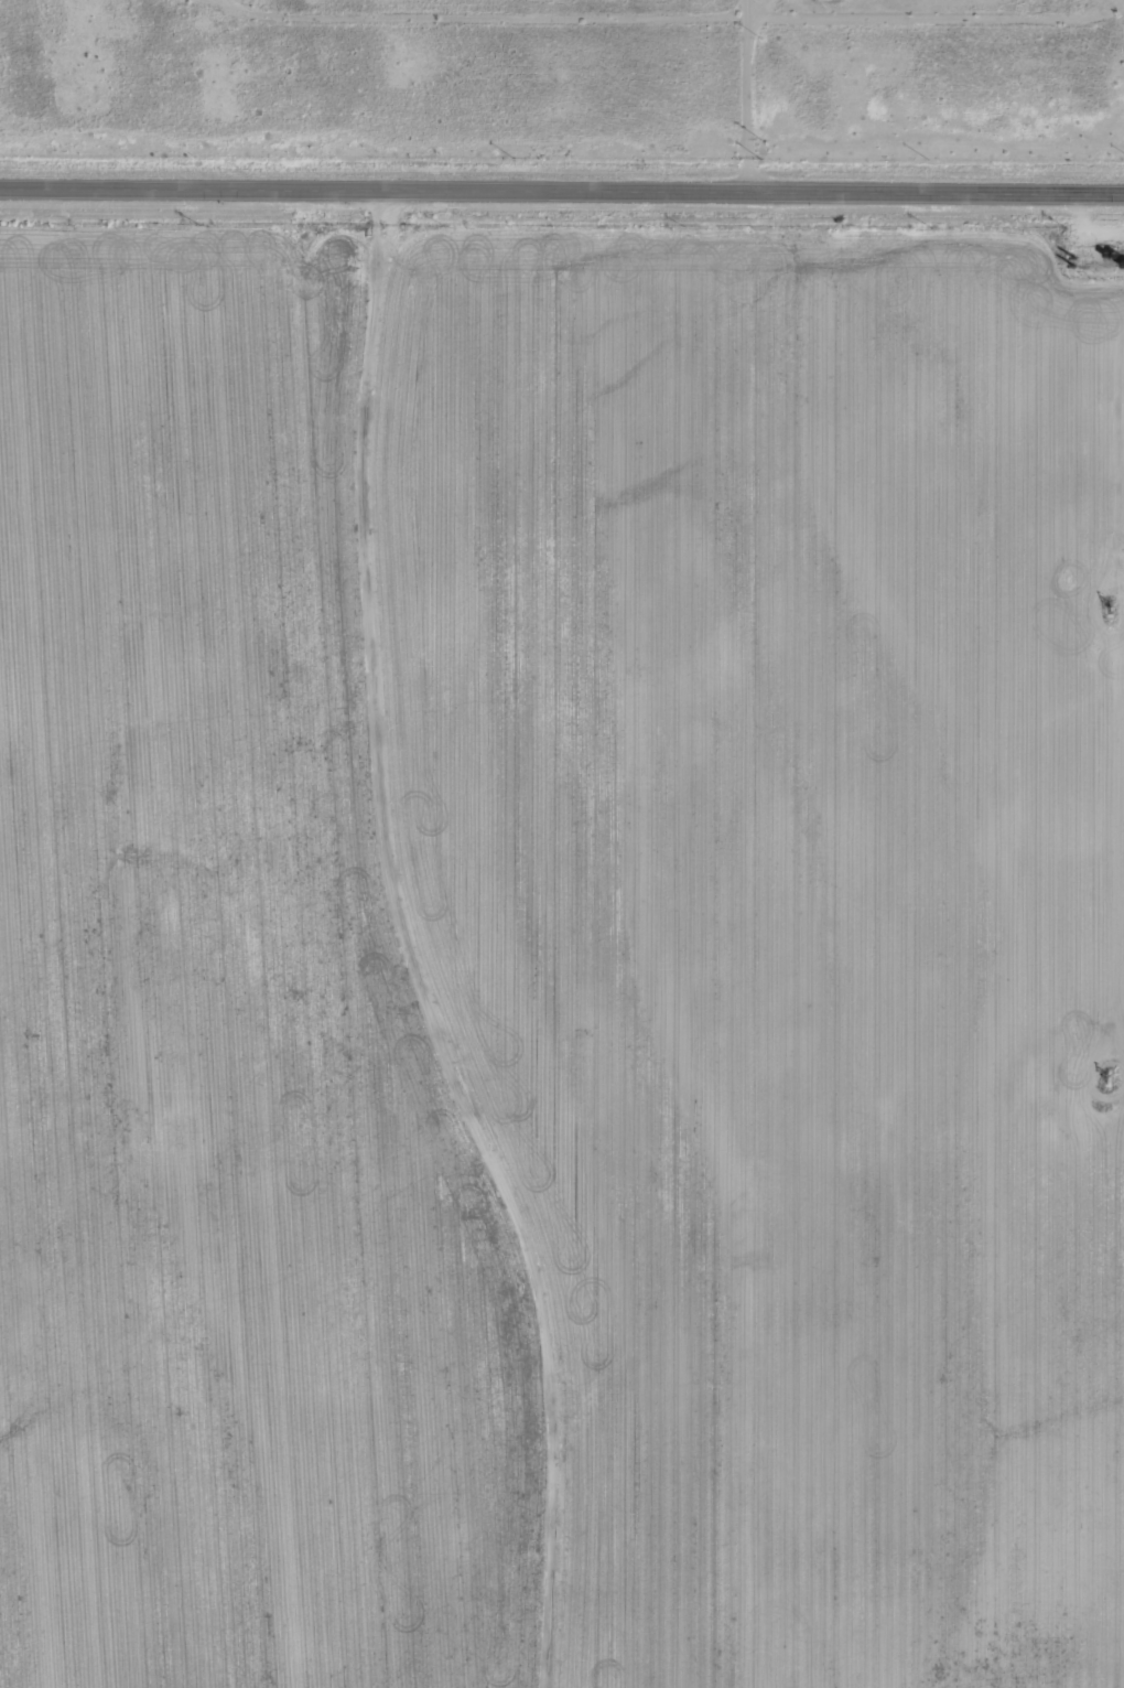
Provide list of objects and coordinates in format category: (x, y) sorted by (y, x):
road: (186, 40)
road: (562, 80)
road: (728, 96)
road: (562, 189)
road: (388, 638)

